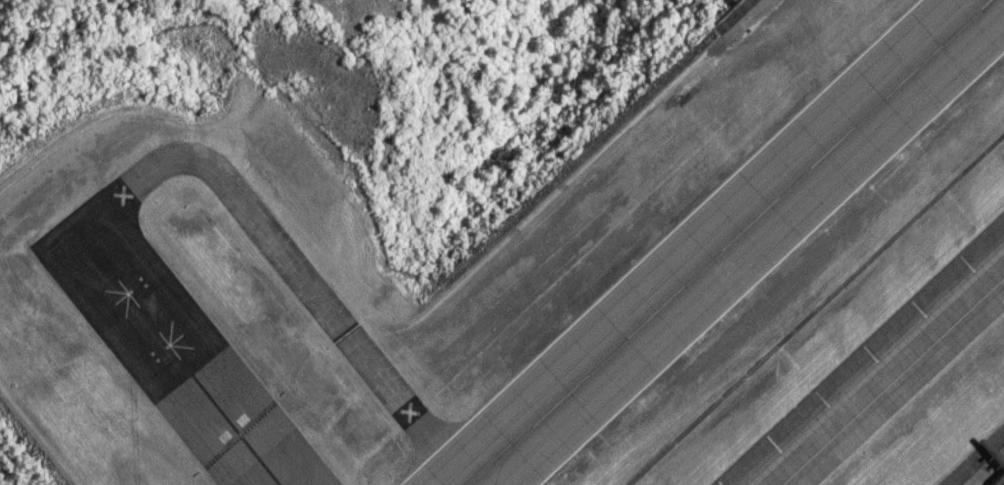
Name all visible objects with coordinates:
airport runway: (732, 242)
airport: (521, 276)
airport taxiway: (171, 350)
airport taxiway: (892, 380)
airport apron: (989, 471)

